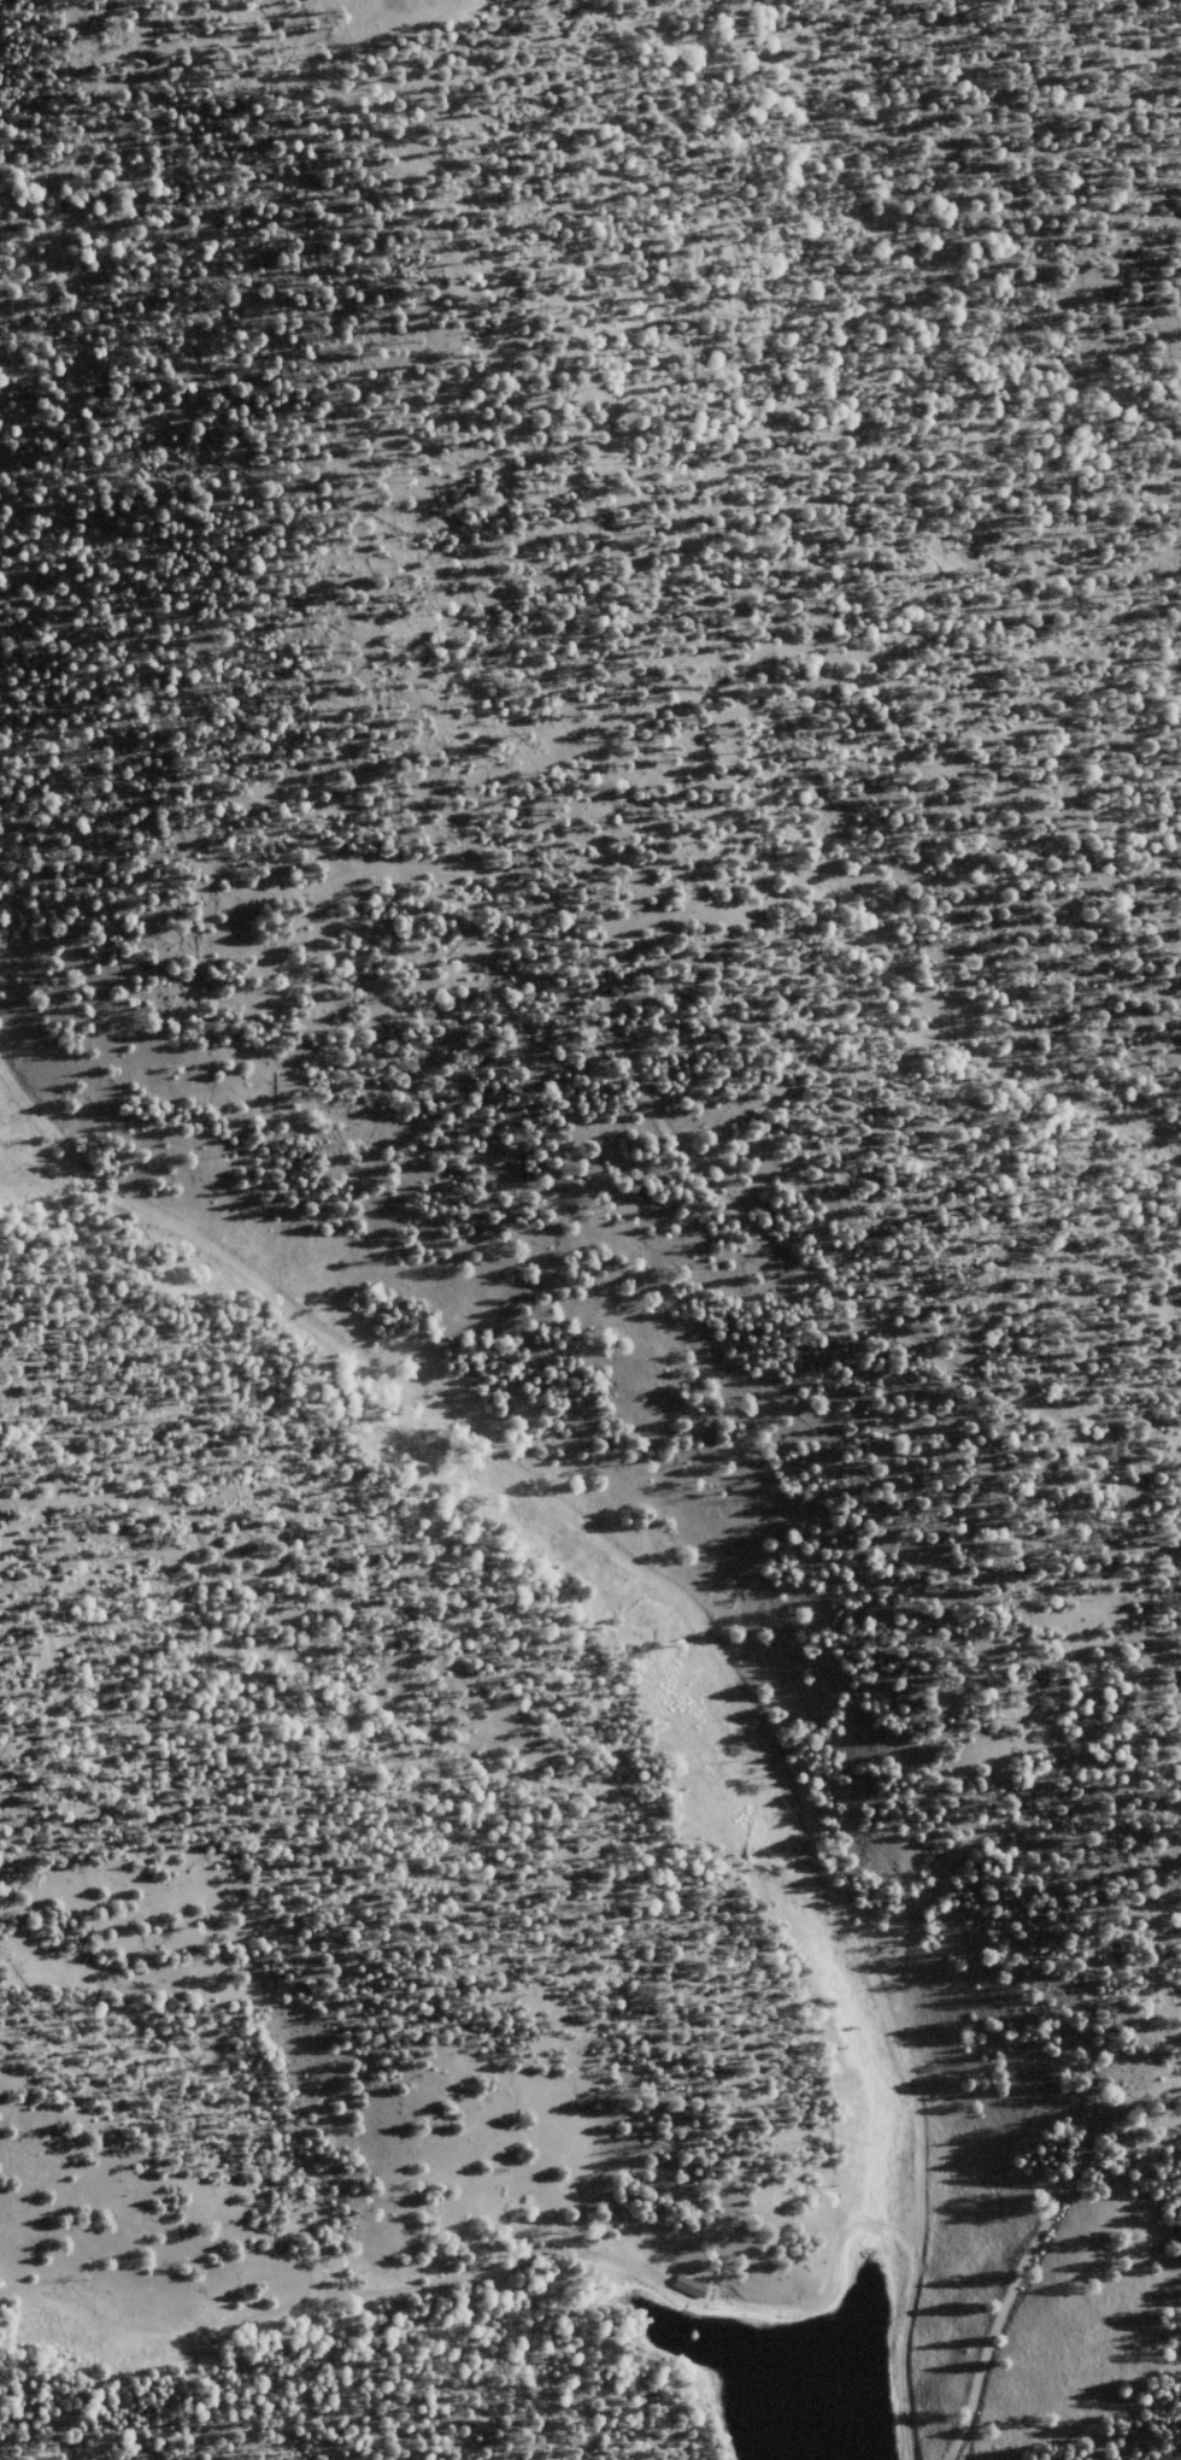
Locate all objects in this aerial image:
road: (853, 216)
road: (616, 1059)
road: (1097, 2130)

